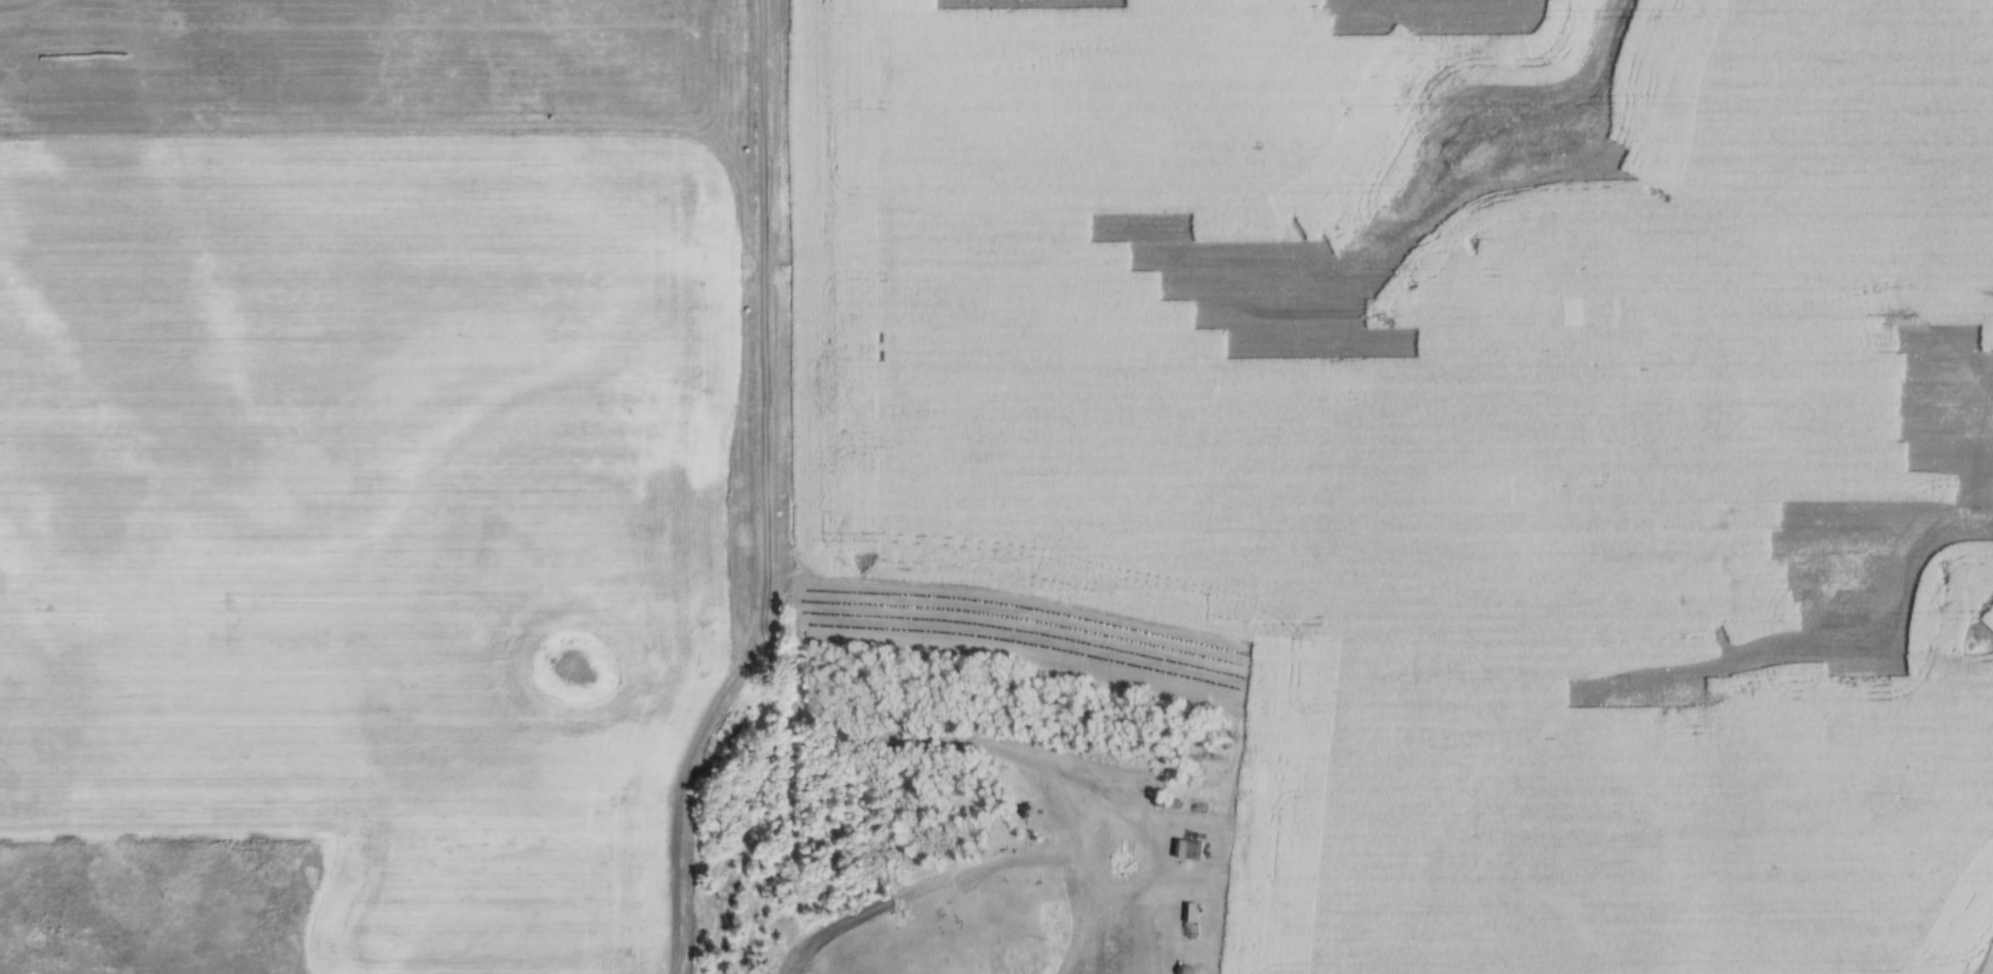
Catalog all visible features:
road: (765, 496)
building: (1099, 837)
building: (1191, 849)
building: (1124, 864)
building: (1192, 912)
building: (1188, 970)

